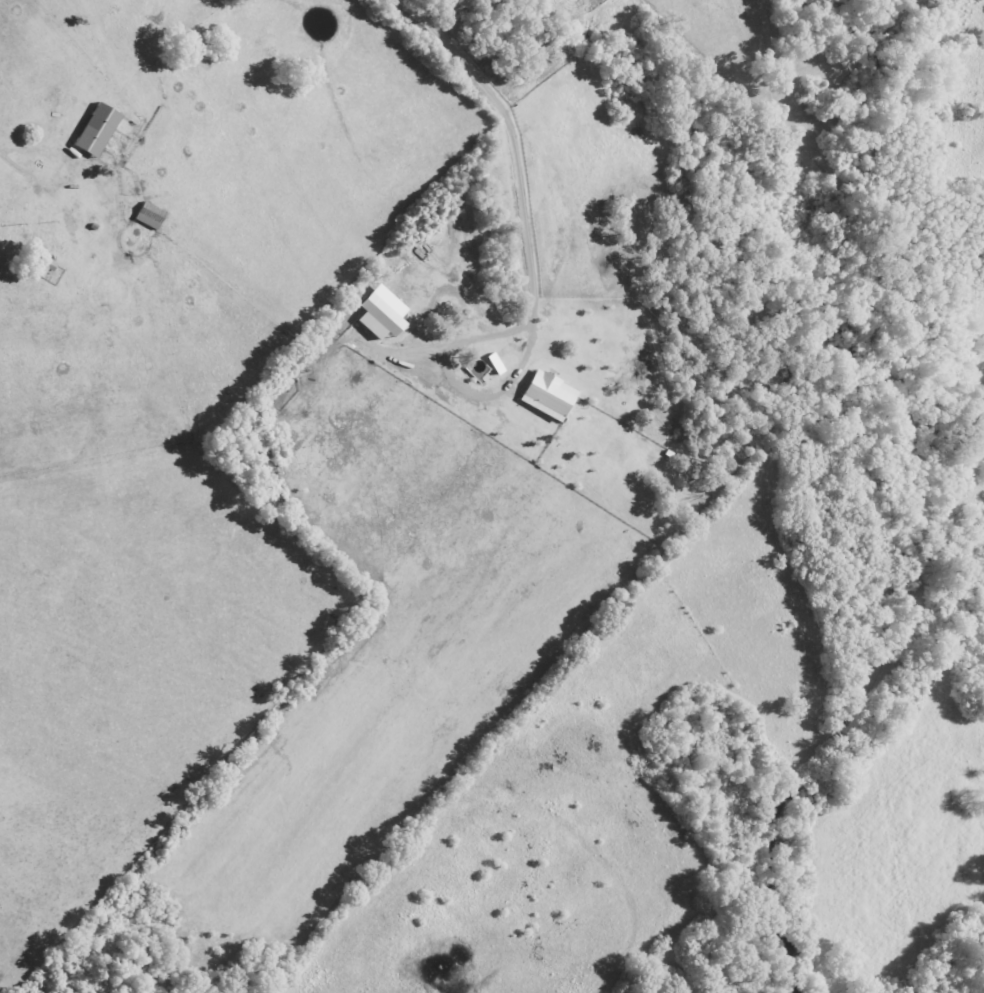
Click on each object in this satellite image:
road: (103, 86)
building: (90, 131)
building: (144, 217)
building: (164, 225)
building: (35, 265)

